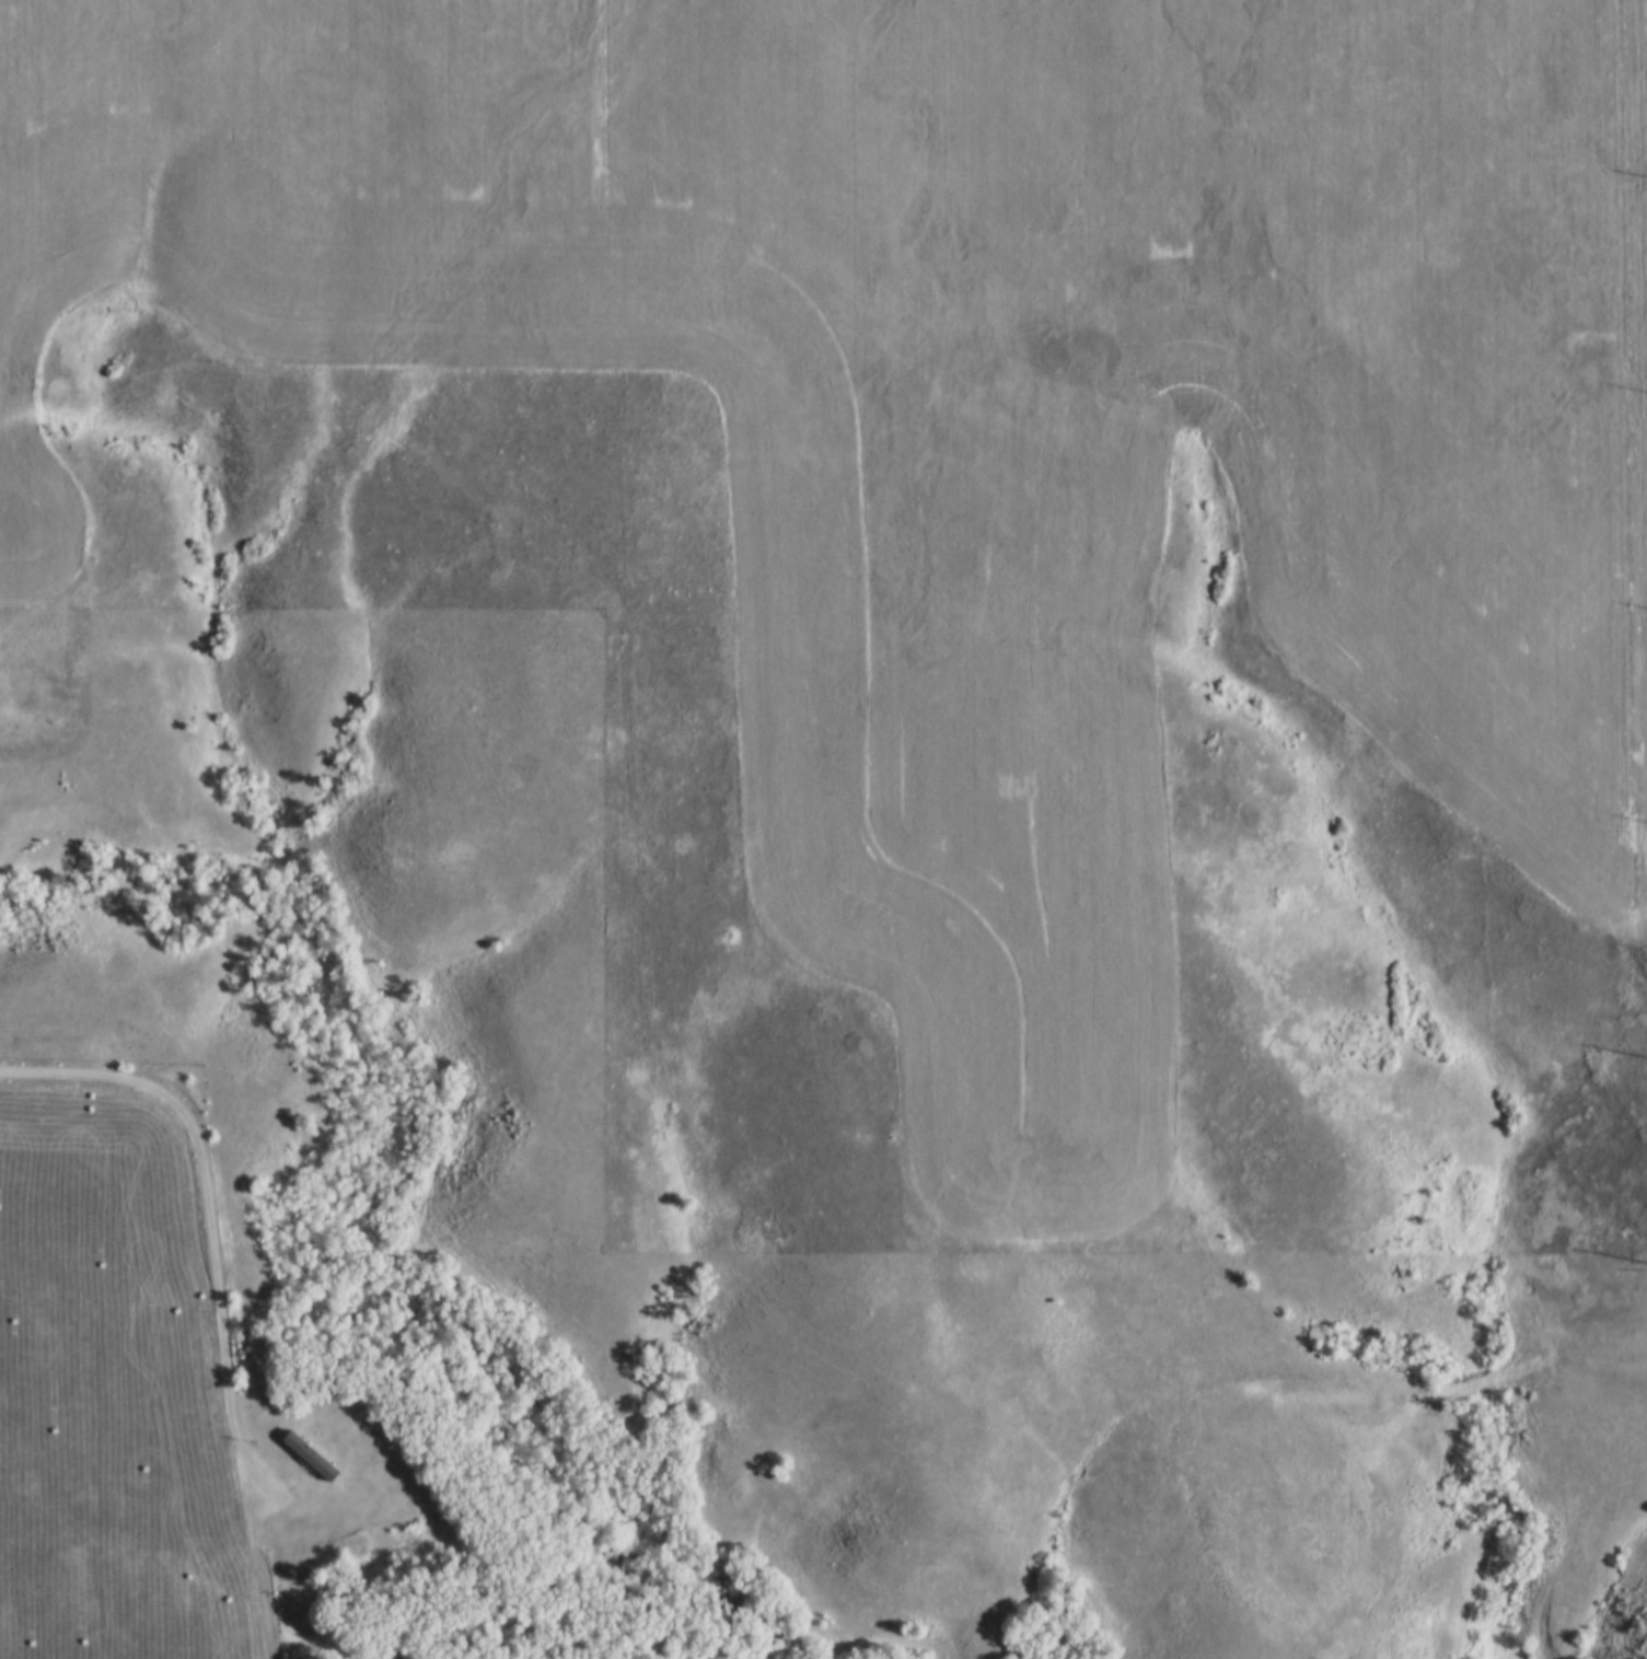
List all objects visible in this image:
road: (193, 1221)
building: (310, 1453)
road: (247, 1576)

